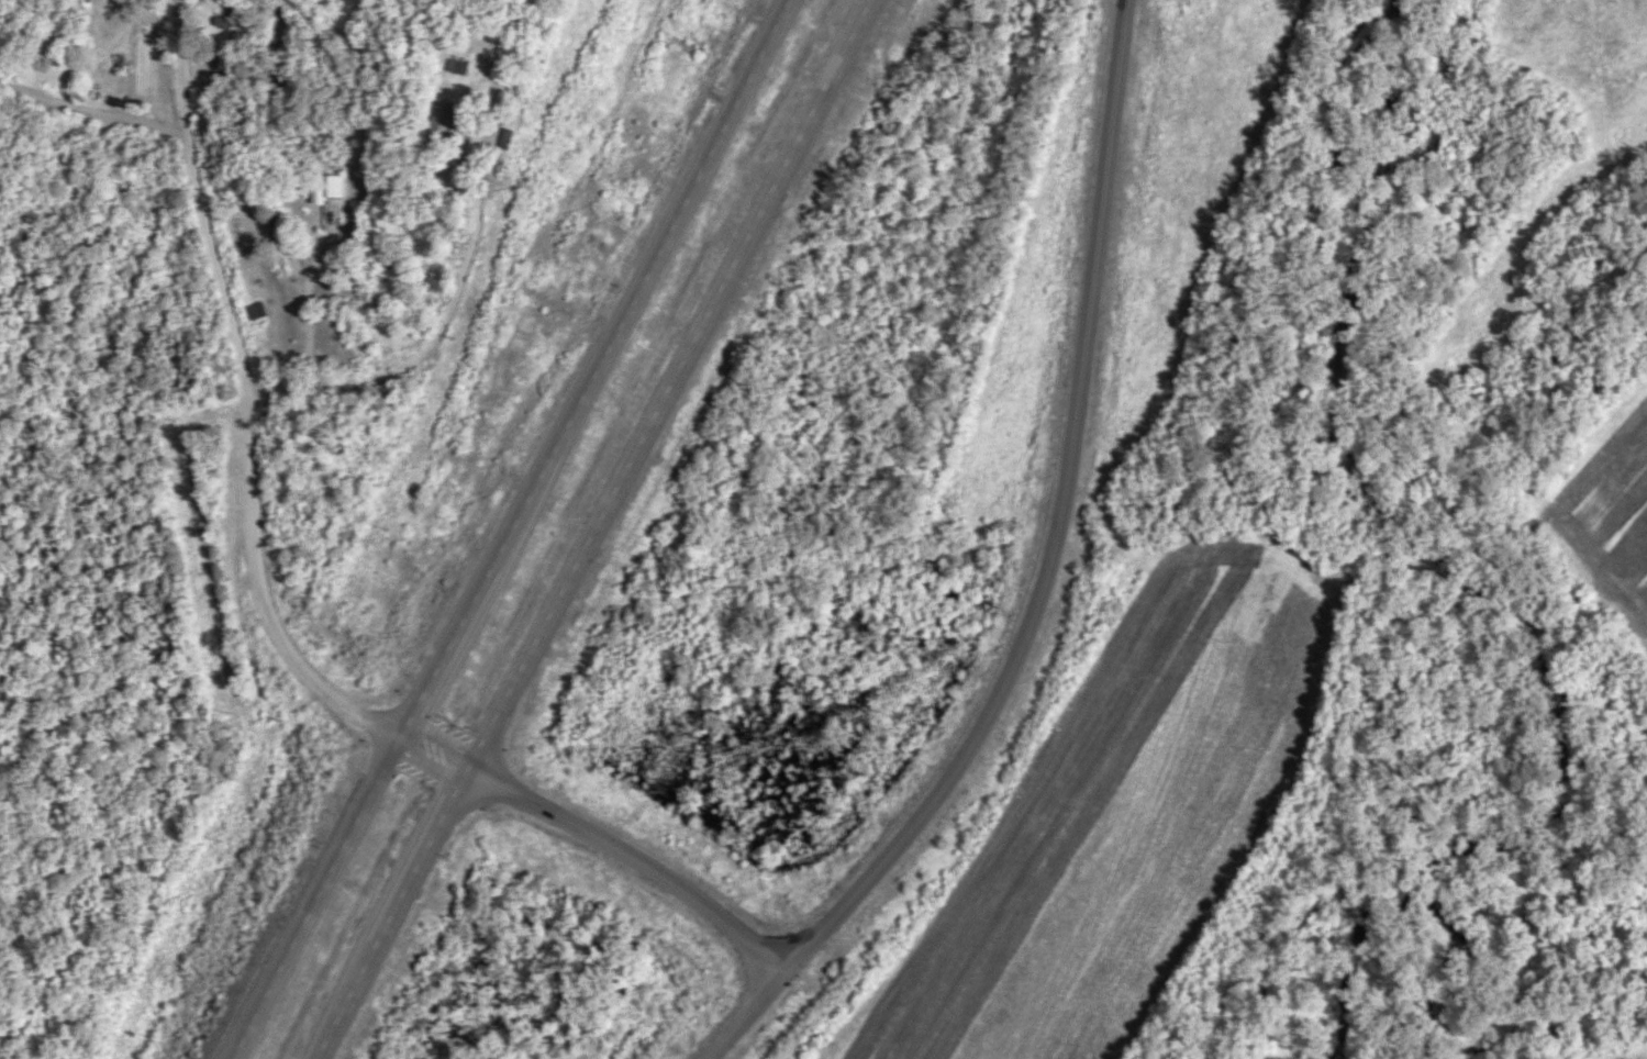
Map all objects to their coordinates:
building: (234, 16)
building: (454, 68)
road: (93, 110)
building: (443, 114)
building: (502, 138)
building: (330, 188)
building: (268, 332)
road: (248, 399)
road: (1060, 523)
road: (592, 528)
road: (512, 531)
road: (604, 840)
road: (422, 918)
road: (748, 1011)

